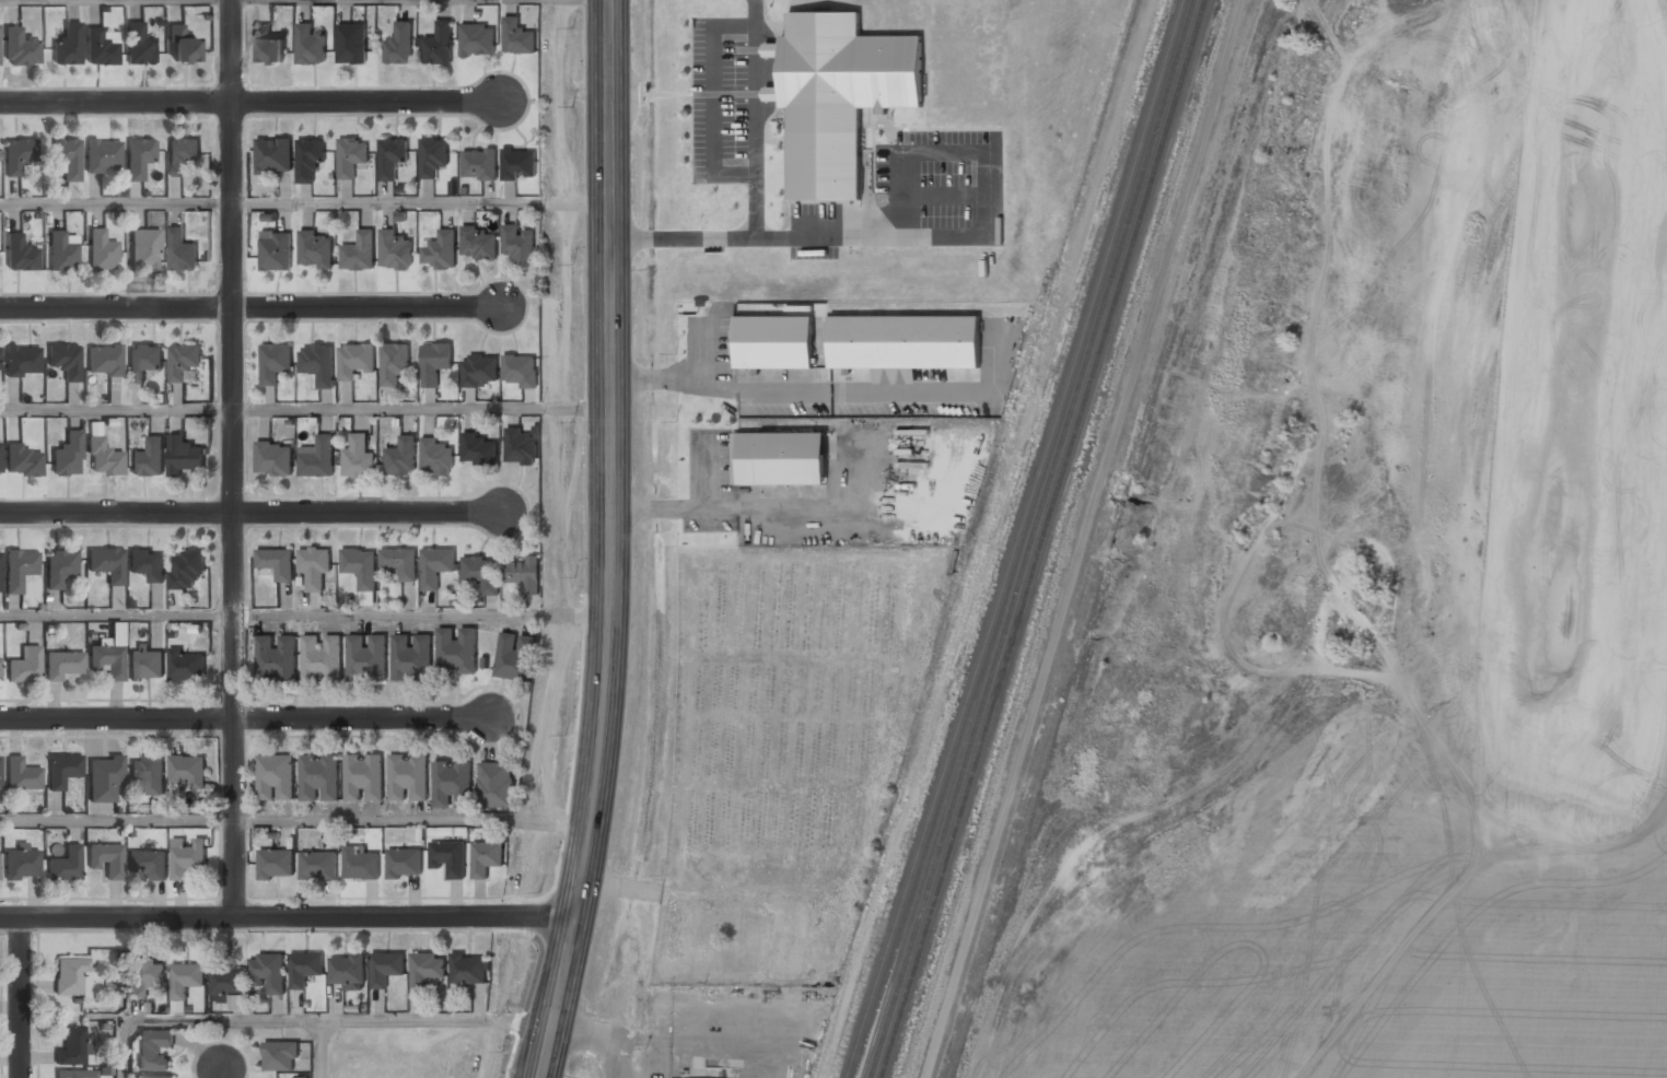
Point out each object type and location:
building: (517, 36)
building: (477, 39)
building: (351, 44)
building: (138, 45)
building: (310, 45)
building: (399, 45)
building: (438, 45)
building: (67, 46)
building: (180, 46)
building: (269, 46)
building: (101, 47)
building: (20, 48)
building: (772, 49)
building: (772, 93)
building: (840, 96)
road: (249, 102)
building: (182, 155)
building: (273, 155)
building: (433, 155)
building: (18, 156)
building: (350, 156)
building: (390, 156)
building: (68, 157)
building: (104, 157)
building: (138, 159)
building: (310, 159)
building: (479, 164)
building: (518, 164)
road: (420, 201)
road: (116, 202)
building: (516, 243)
building: (477, 244)
building: (144, 249)
building: (314, 249)
building: (394, 249)
building: (275, 250)
building: (440, 250)
building: (102, 251)
building: (182, 251)
building: (359, 251)
building: (61, 253)
building: (20, 255)
road: (250, 307)
building: (774, 341)
building: (905, 342)
building: (183, 360)
building: (354, 360)
building: (0, 361)
building: (22, 361)
building: (66, 361)
building: (104, 361)
building: (143, 361)
building: (434, 362)
building: (276, 363)
building: (318, 363)
building: (394, 363)
building: (520, 370)
building: (470, 374)
road: (304, 408)
building: (521, 446)
building: (479, 449)
building: (67, 455)
building: (185, 456)
building: (401, 456)
building: (435, 456)
building: (103, 458)
building: (149, 458)
building: (275, 458)
building: (319, 458)
building: (358, 458)
building: (779, 458)
road: (232, 459)
building: (0, 460)
building: (23, 461)
road: (249, 513)
railway: (1034, 538)
railway: (1019, 539)
railway: (1045, 539)
road: (609, 541)
building: (277, 562)
building: (400, 562)
building: (106, 564)
building: (147, 564)
building: (314, 566)
building: (435, 566)
building: (60, 567)
building: (360, 567)
building: (187, 569)
building: (19, 570)
building: (481, 573)
building: (523, 573)
building: (0, 578)
road: (304, 616)
building: (457, 649)
building: (515, 656)
building: (277, 657)
building: (323, 657)
building: (412, 657)
building: (366, 658)
building: (106, 661)
building: (62, 665)
building: (145, 665)
building: (24, 666)
building: (186, 666)
building: (0, 672)
road: (244, 718)
building: (62, 771)
building: (187, 771)
building: (0, 772)
building: (24, 774)
building: (147, 776)
building: (276, 777)
building: (364, 777)
building: (319, 778)
building: (407, 778)
building: (103, 780)
building: (453, 783)
building: (497, 785)
road: (294, 817)
building: (187, 857)
building: (448, 857)
building: (486, 857)
building: (106, 859)
building: (149, 863)
building: (360, 863)
building: (404, 863)
building: (276, 864)
building: (21, 865)
building: (66, 865)
building: (317, 866)
road: (287, 918)
building: (305, 968)
building: (386, 968)
building: (348, 970)
building: (426, 970)
building: (468, 970)
building: (268, 972)
building: (71, 977)
building: (145, 977)
building: (184, 980)
building: (228, 982)
road: (20, 998)
building: (237, 1004)
road: (308, 1020)
building: (71, 1047)
road: (320, 1048)
building: (154, 1050)
building: (281, 1057)
road: (532, 1061)
building: (77, 1075)
road: (221, 1075)
building: (158, 1077)

